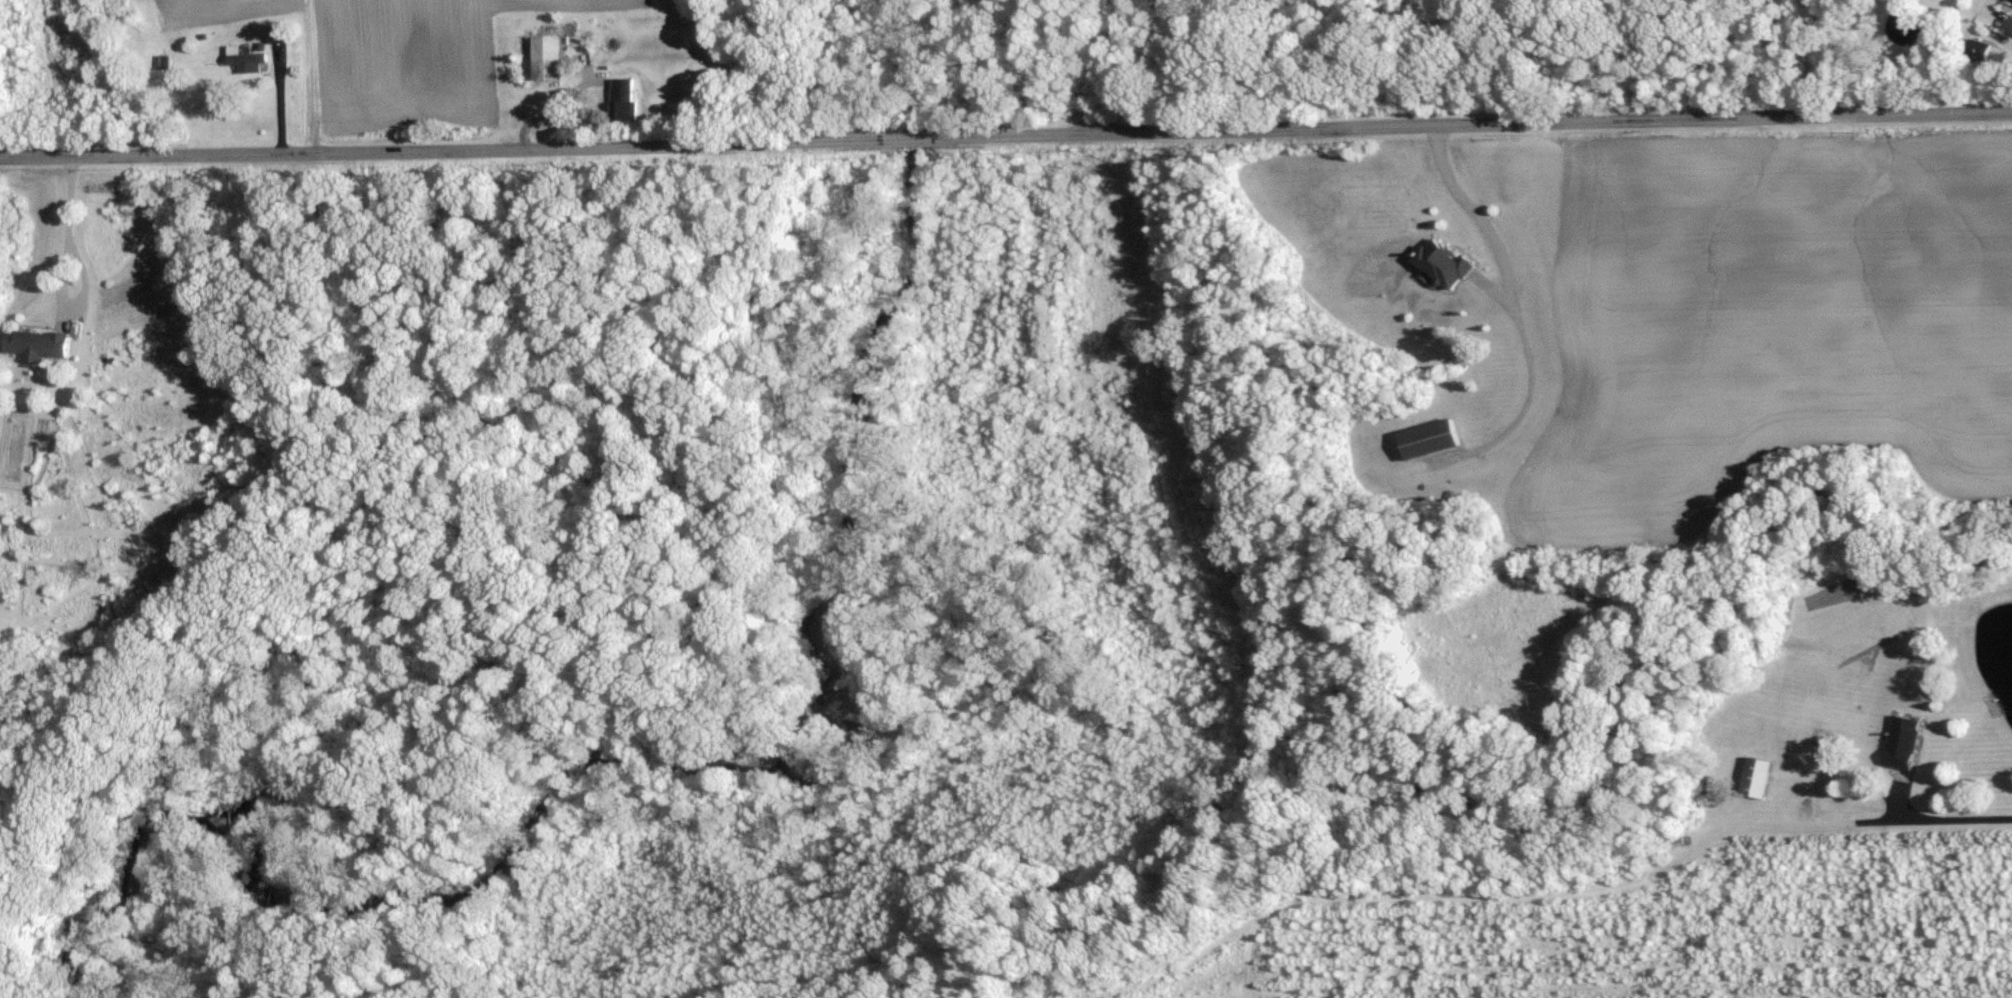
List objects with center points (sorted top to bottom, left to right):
building: (278, 33)
building: (550, 57)
building: (246, 59)
road: (1099, 65)
building: (627, 98)
road: (1006, 135)
road: (67, 219)
building: (1447, 262)
road: (1517, 308)
building: (39, 342)
building: (1433, 437)
building: (1761, 776)
road: (1950, 818)

